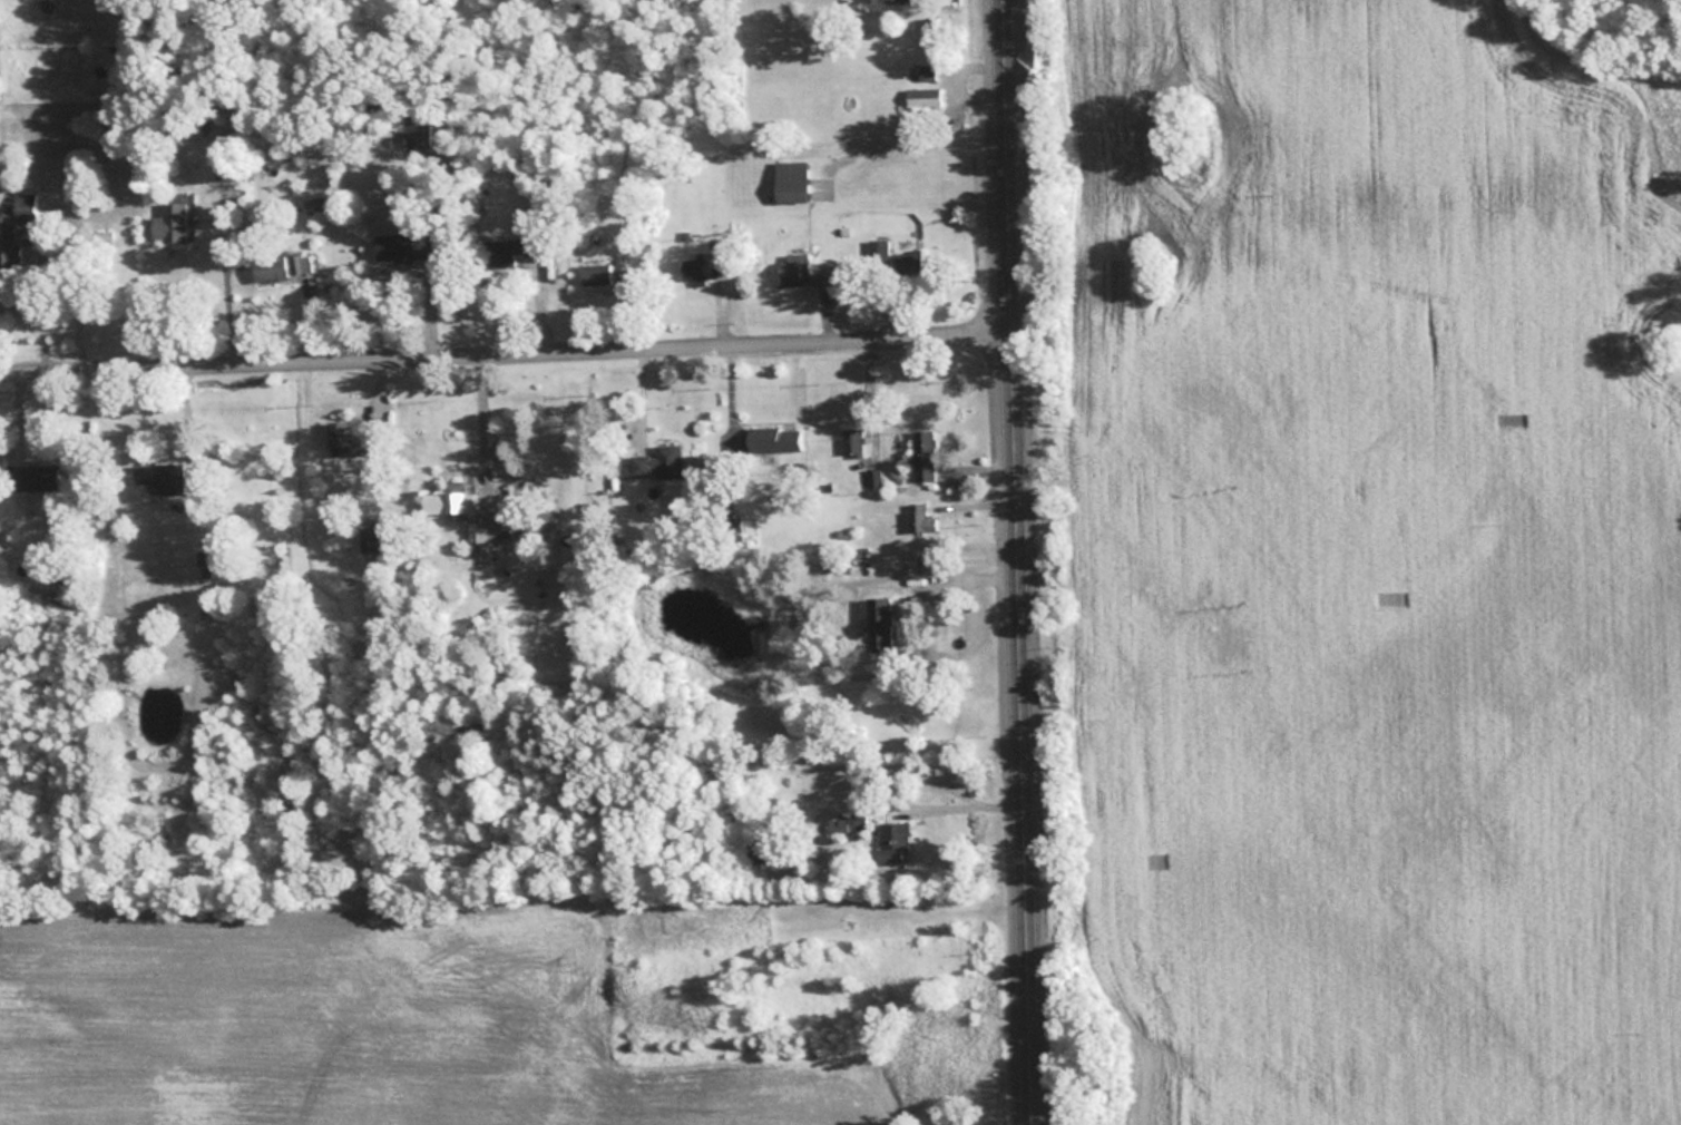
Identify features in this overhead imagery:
building: (901, 1)
building: (934, 38)
building: (928, 74)
building: (925, 99)
building: (420, 130)
building: (226, 160)
building: (795, 185)
building: (554, 189)
road: (58, 214)
building: (170, 224)
building: (16, 231)
building: (408, 248)
building: (509, 253)
building: (910, 266)
building: (281, 267)
building: (796, 272)
building: (695, 273)
building: (597, 277)
road: (226, 294)
road: (507, 348)
road: (480, 414)
road: (185, 419)
building: (359, 440)
building: (774, 441)
building: (853, 443)
building: (925, 457)
building: (661, 464)
building: (163, 477)
building: (39, 478)
building: (872, 478)
building: (448, 501)
building: (922, 520)
building: (485, 531)
building: (371, 541)
road: (1020, 561)
building: (204, 564)
road: (960, 579)
building: (882, 626)
road: (964, 808)
building: (851, 825)
building: (897, 844)
building: (772, 853)

